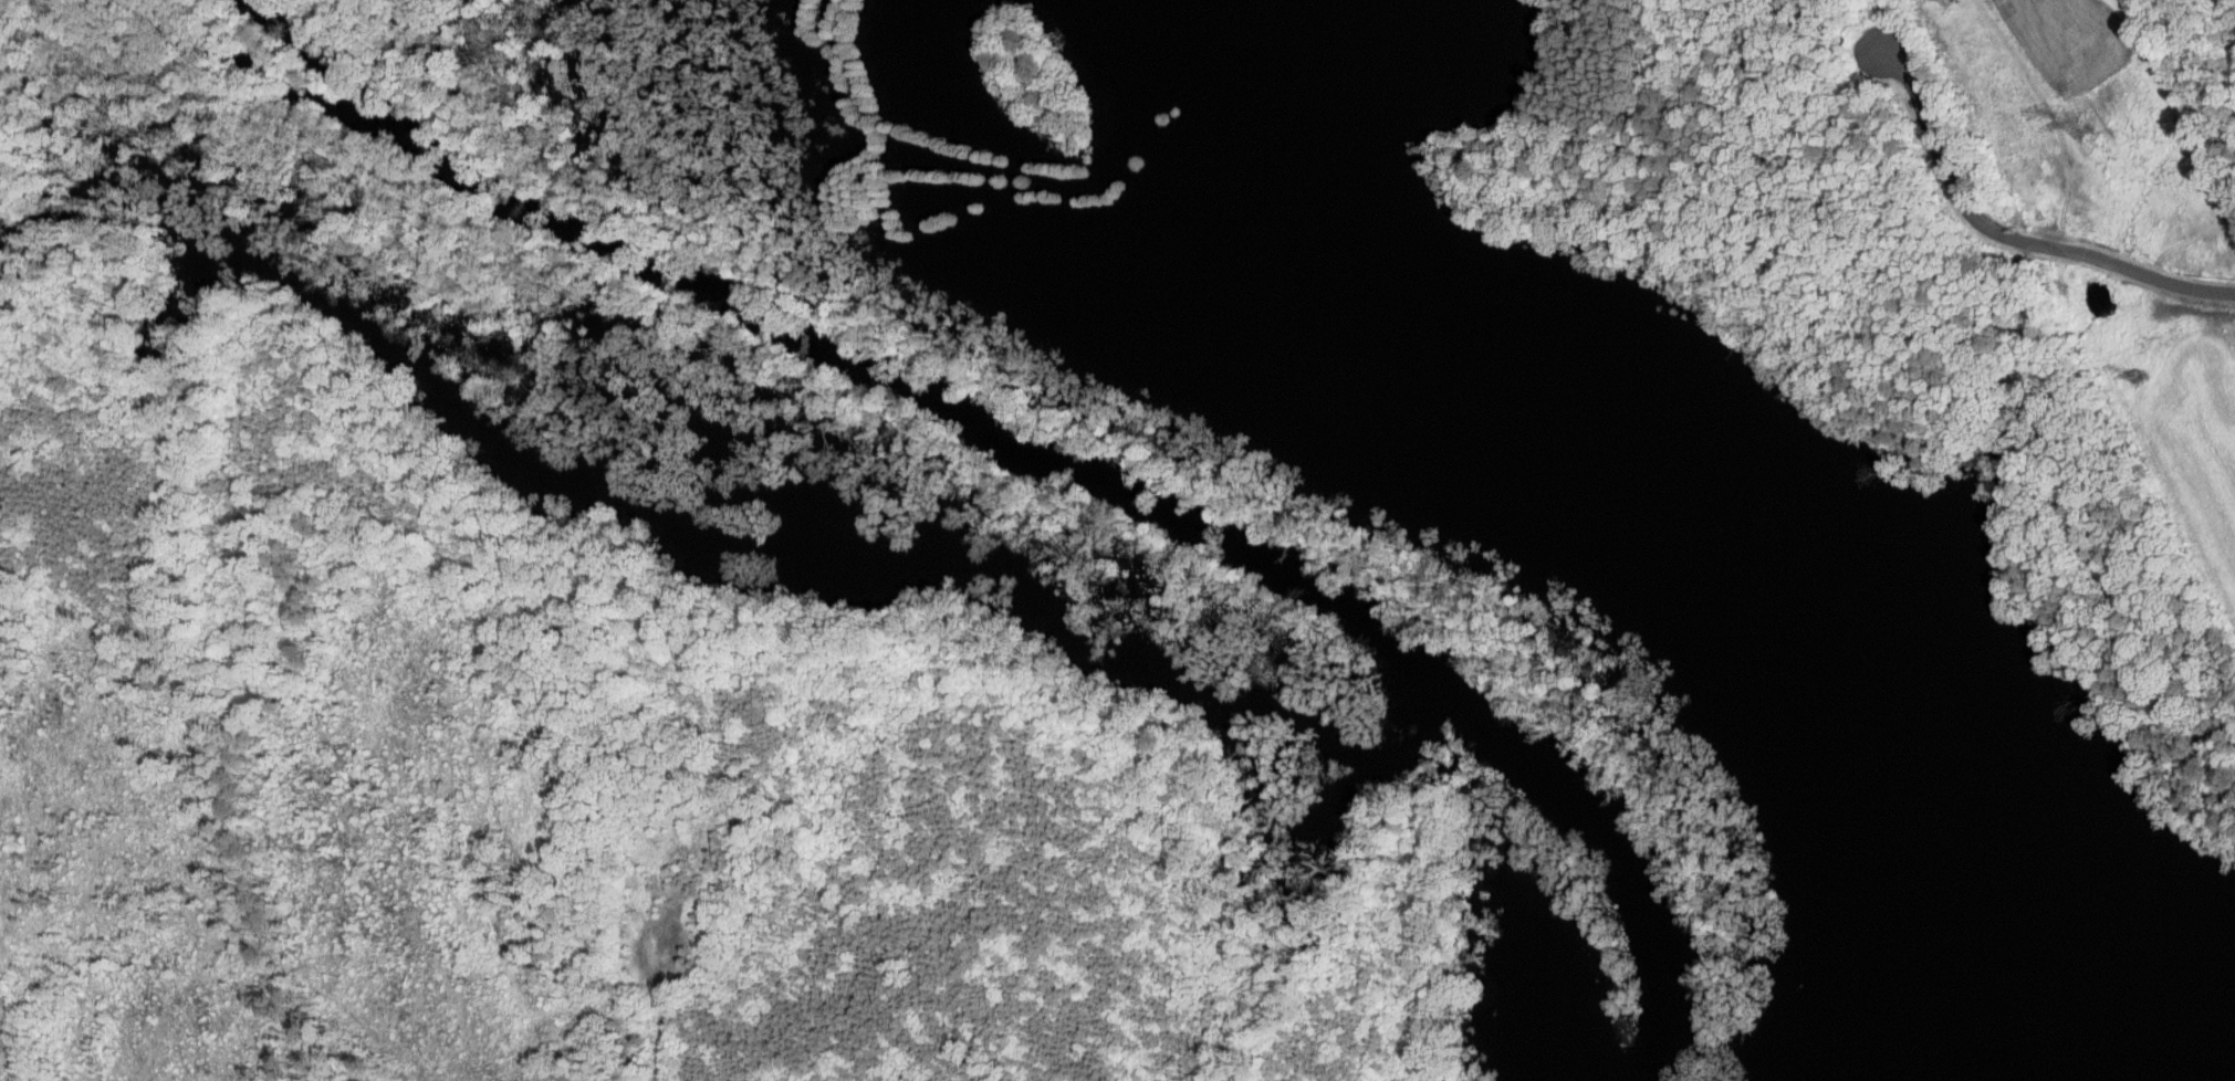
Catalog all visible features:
power tower: (2082, 125)
road: (2008, 235)
power tower: (2135, 374)

